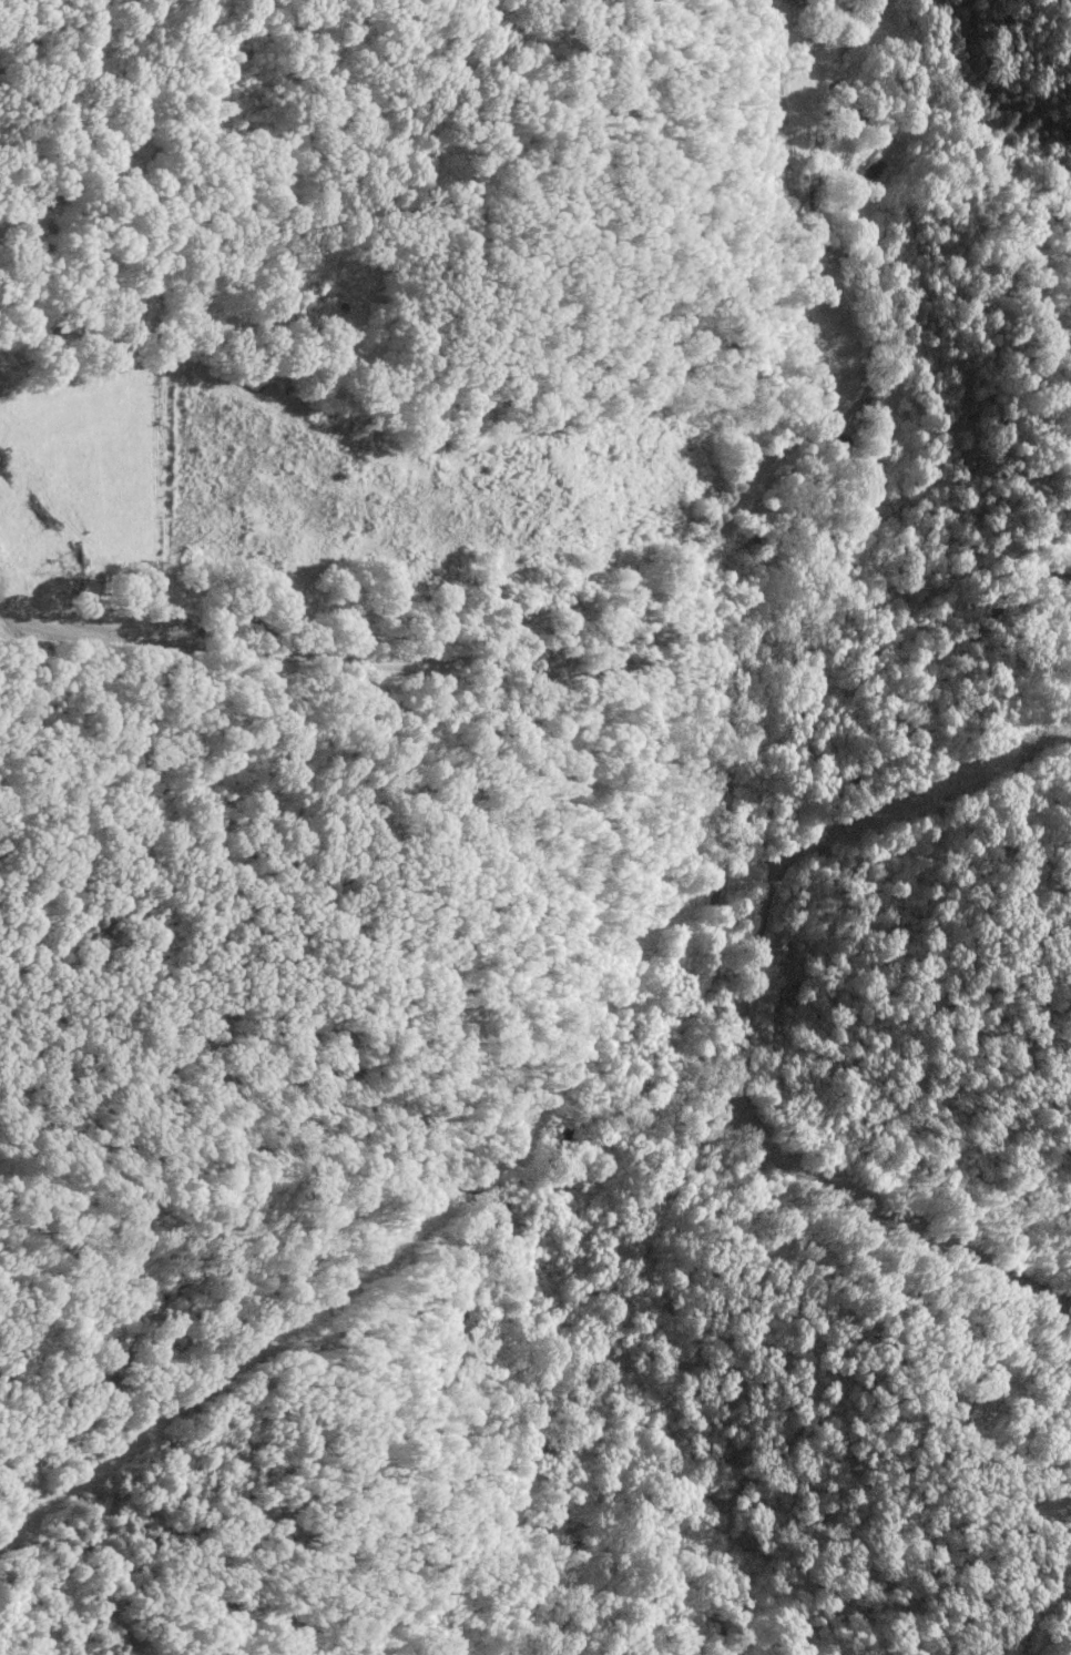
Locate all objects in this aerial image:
building: (779, 0)
road: (855, 546)
road: (473, 661)
road: (914, 714)
road: (892, 1208)
road: (557, 1356)
road: (647, 1554)

